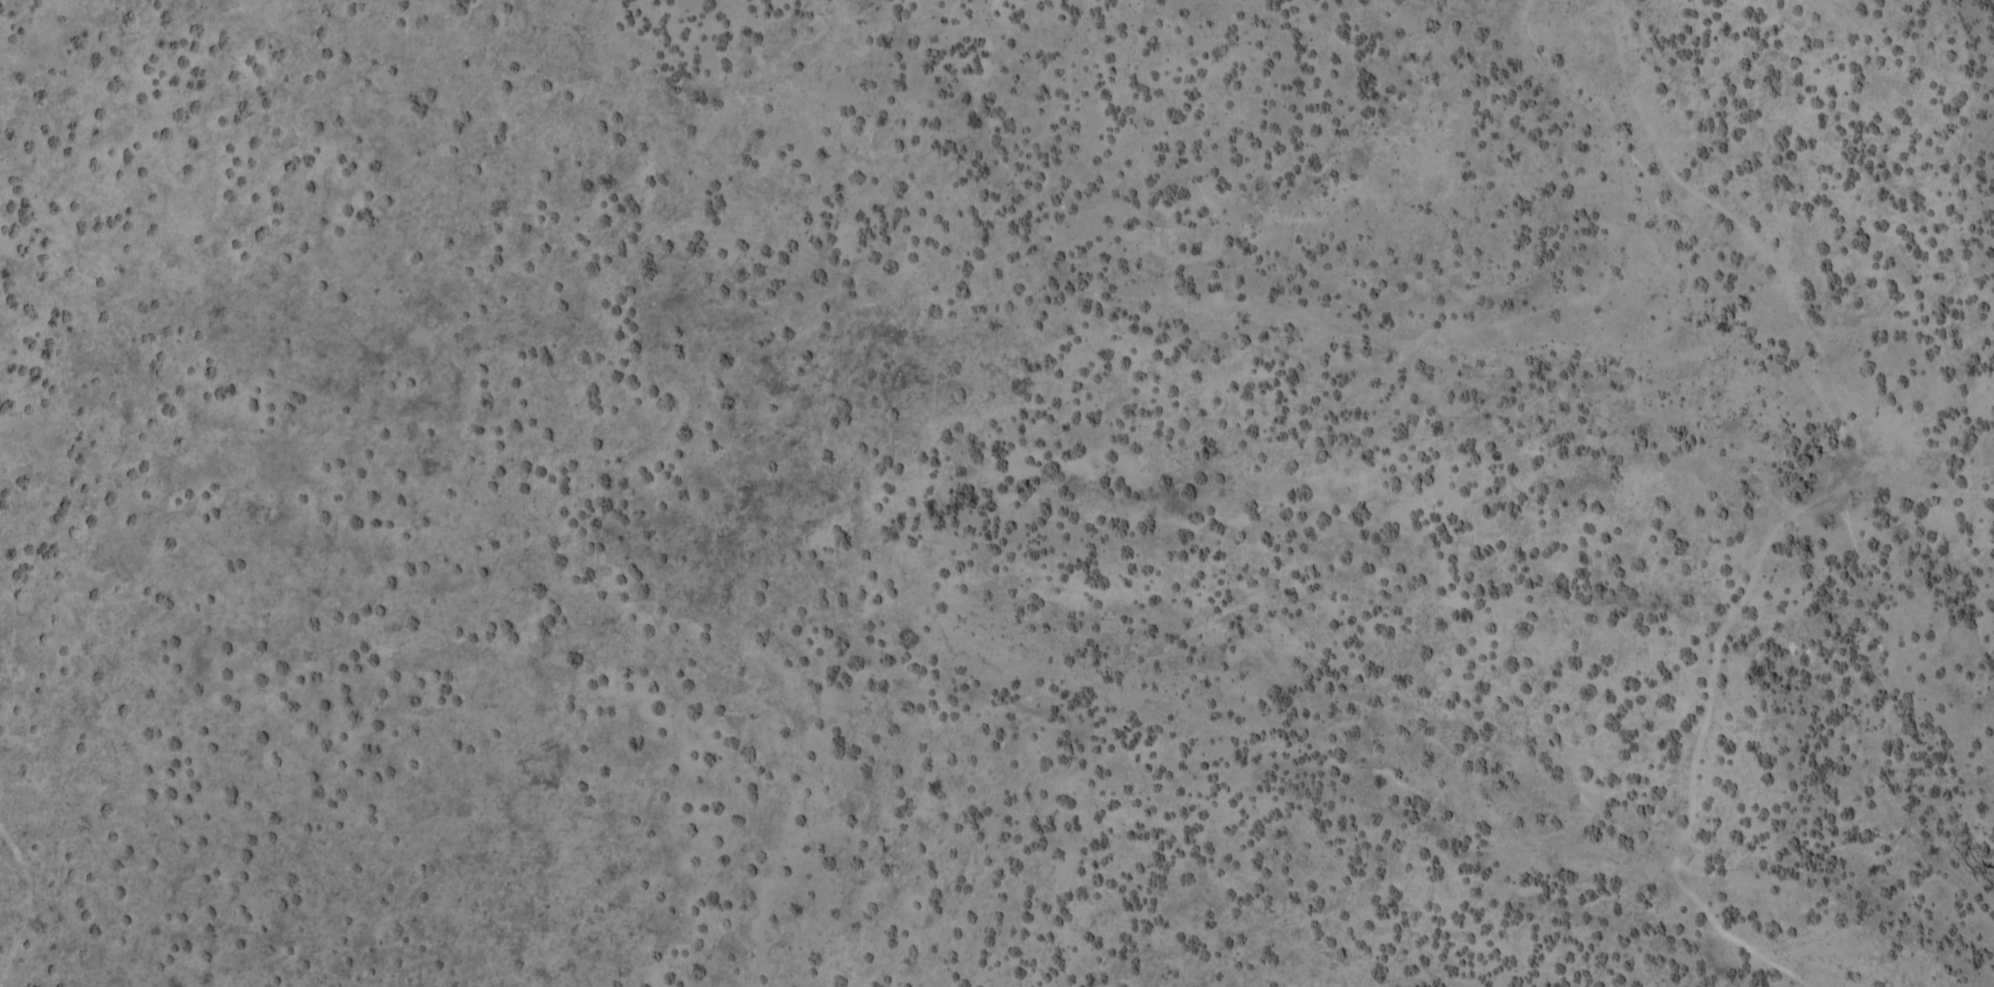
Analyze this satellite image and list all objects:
road: (1692, 778)

